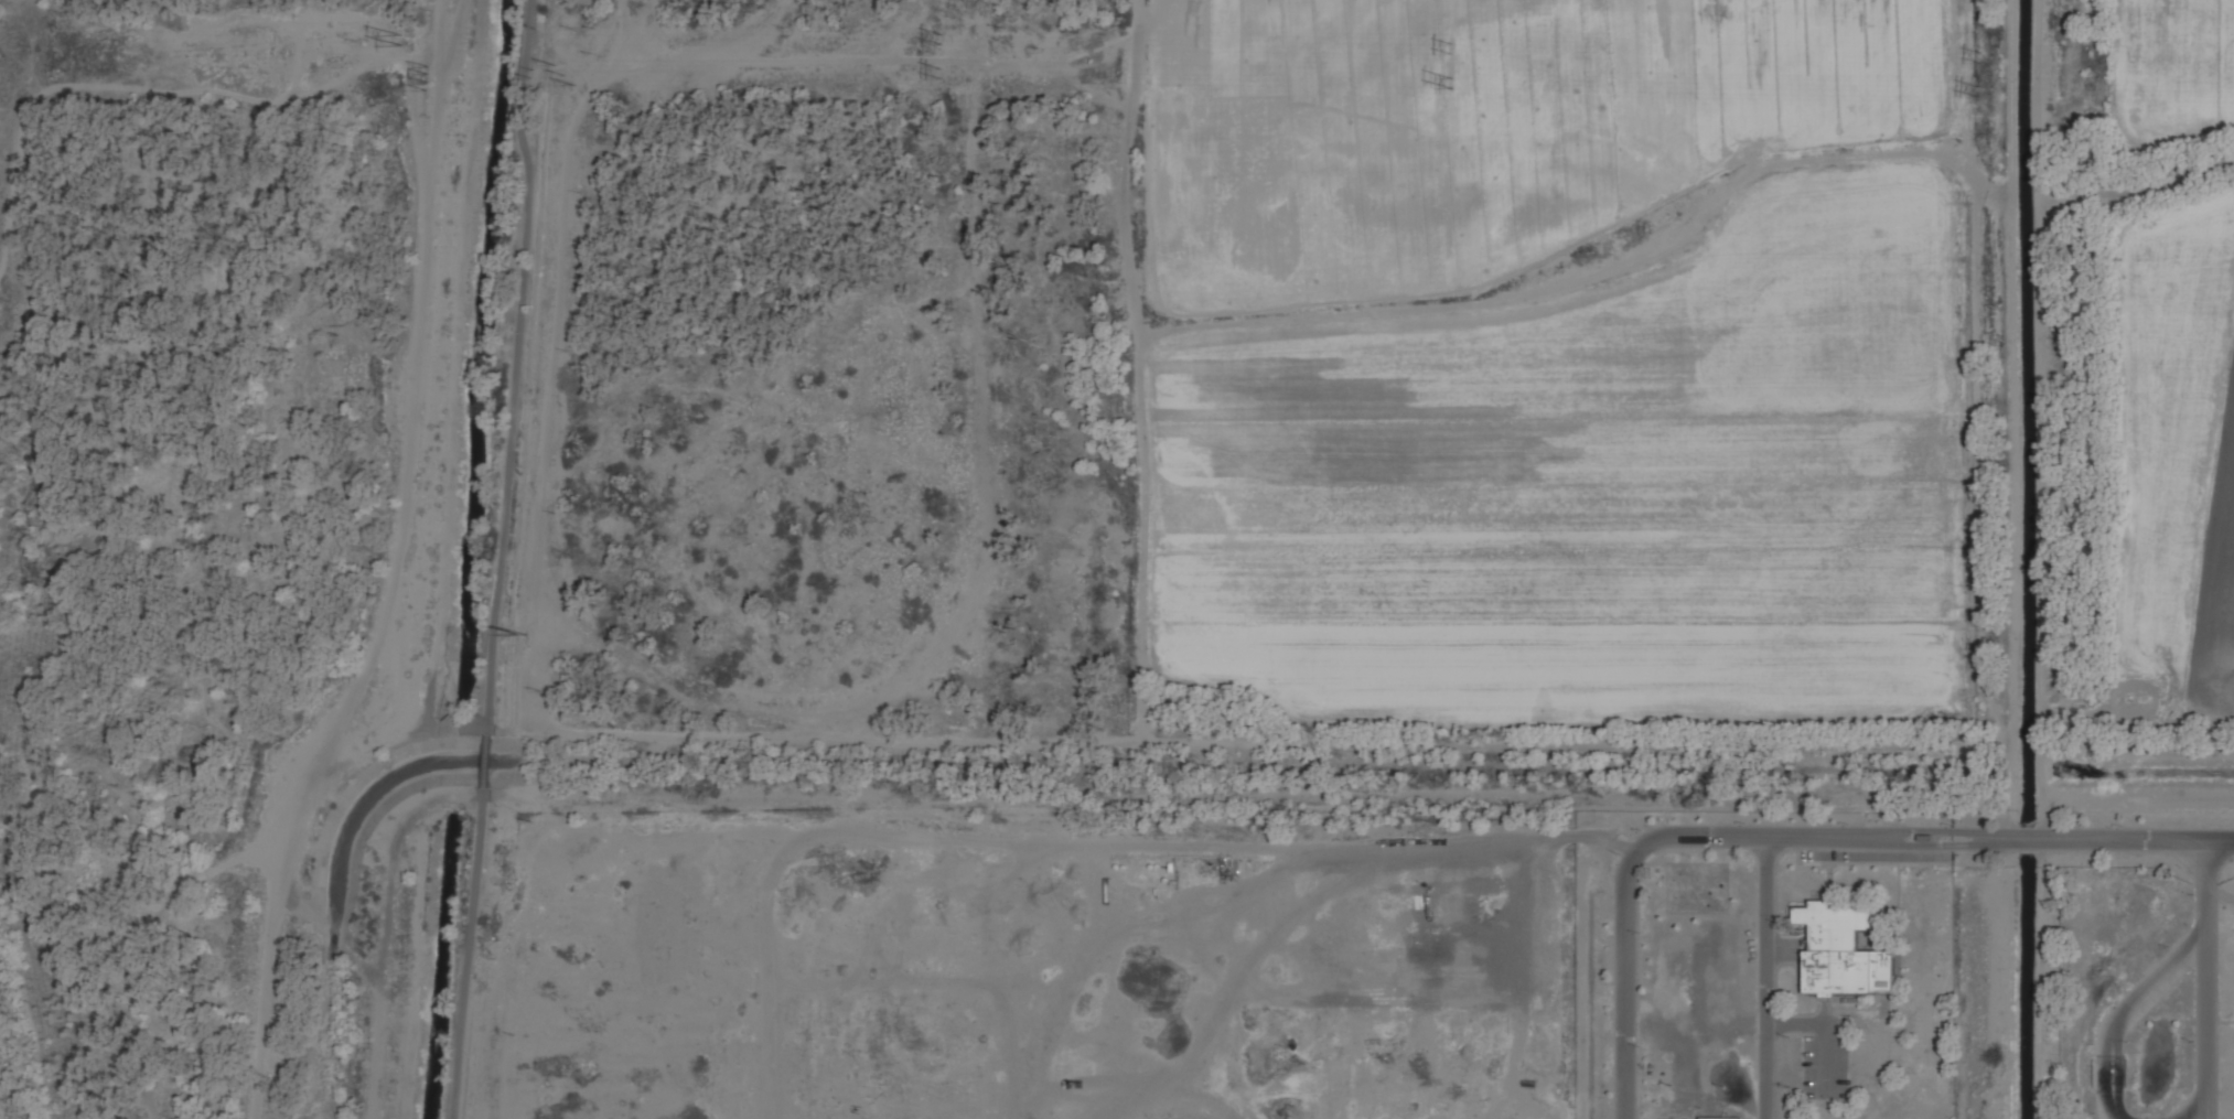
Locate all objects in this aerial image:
power tower: (398, 35)
power tower: (938, 35)
power tower: (1438, 42)
power tower: (1972, 53)
power tower: (941, 73)
power tower: (417, 74)
power tower: (567, 83)
power tower: (1451, 87)
power tower: (1967, 95)
crop: (2173, 359)
road: (515, 366)
crop: (1550, 367)
road: (146, 568)
road: (389, 568)
road: (488, 762)
road: (1784, 837)
road: (227, 862)
building: (1841, 950)
road: (471, 954)
wastewater plant: (1765, 964)
road: (2210, 964)
building: (1685, 969)
road: (2123, 1012)
road: (150, 1075)
road: (2194, 1107)
building: (1675, 1117)
building: (1721, 1117)

